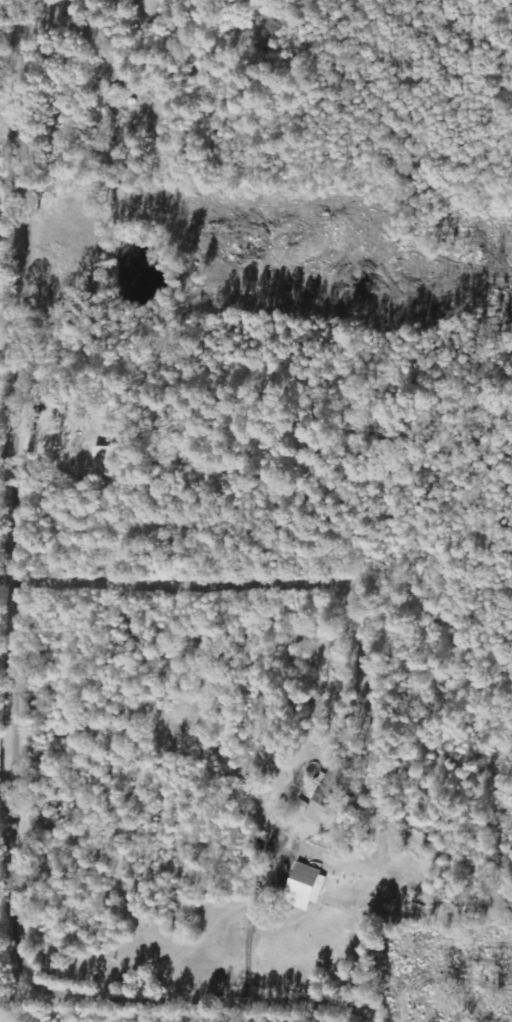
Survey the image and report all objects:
building: (103, 461)
road: (23, 663)
building: (324, 798)
building: (307, 885)

